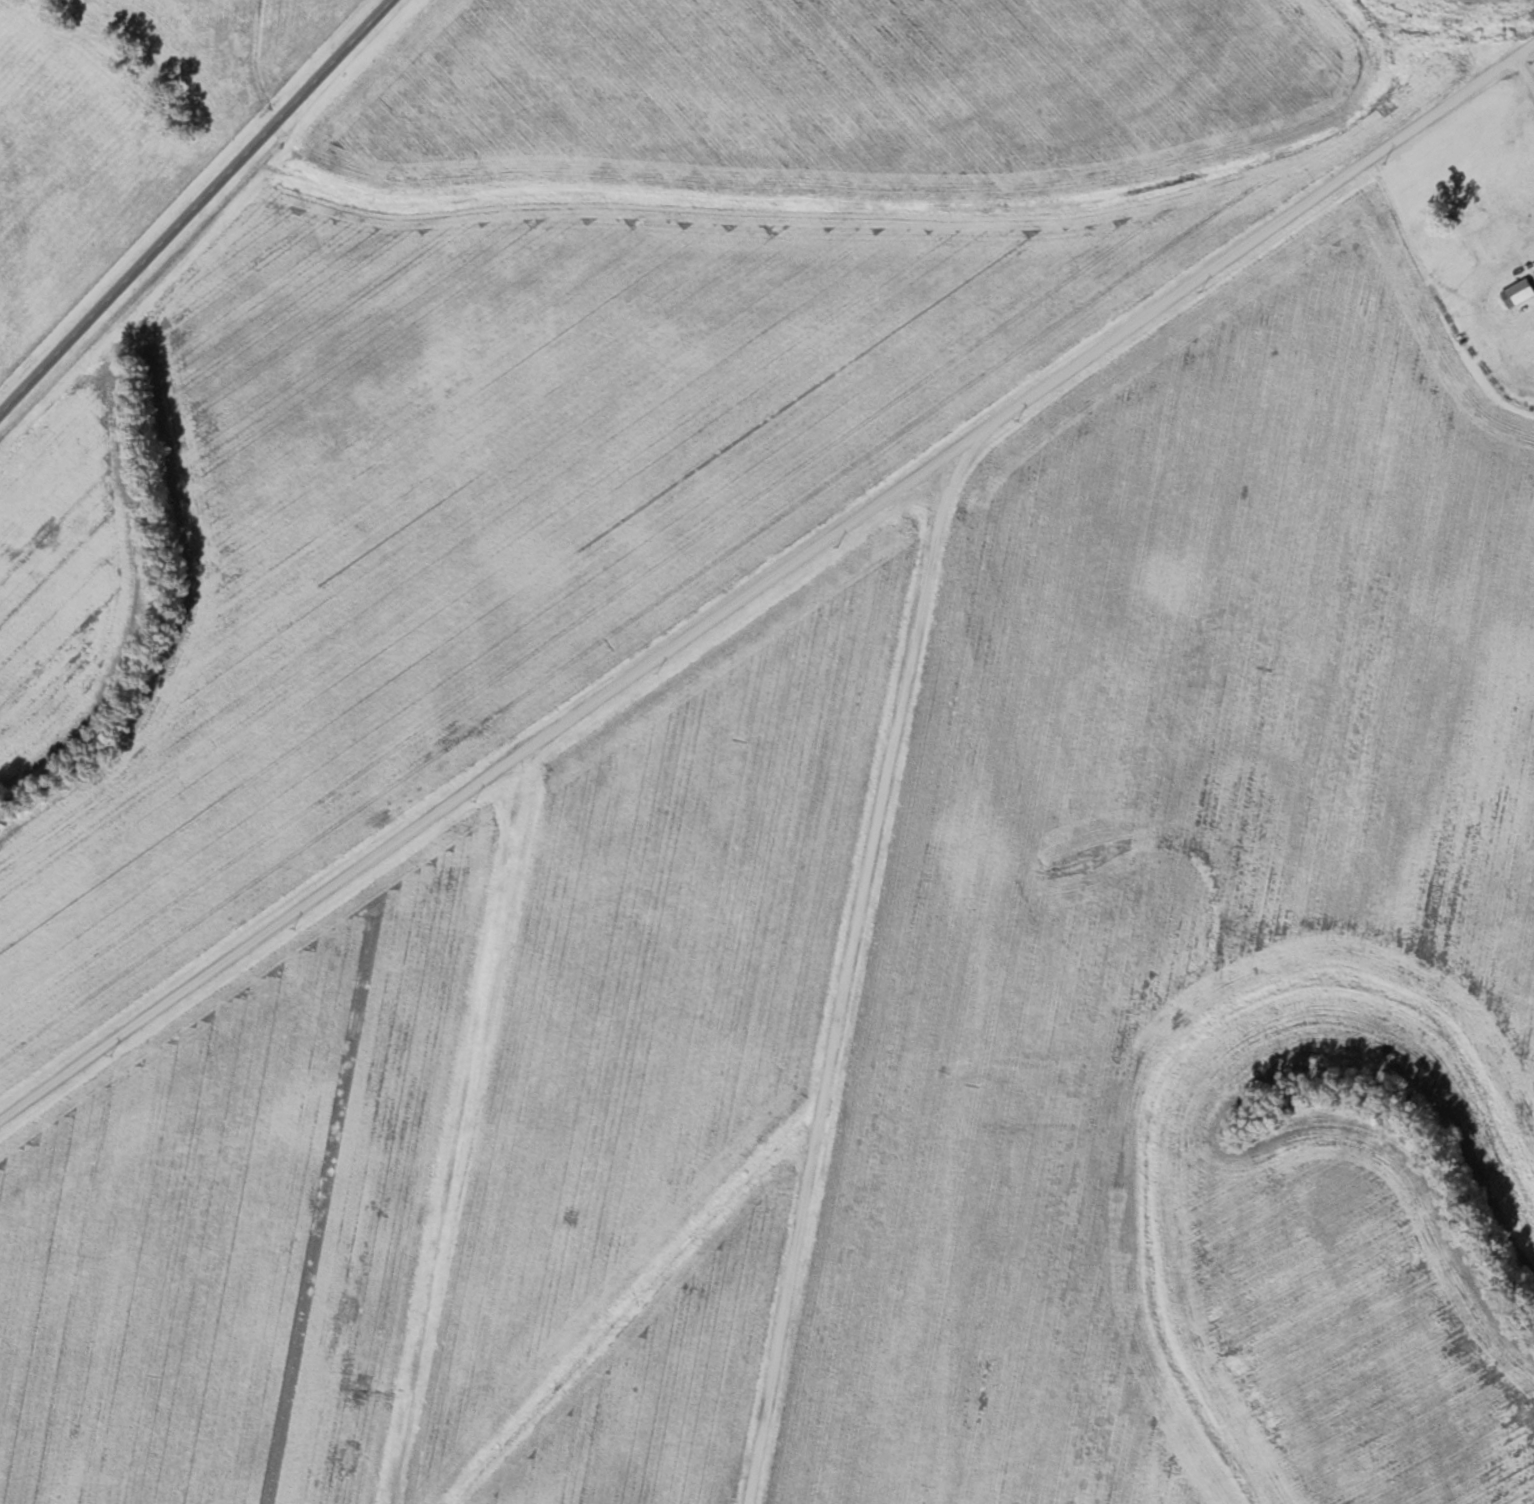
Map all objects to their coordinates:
road: (1521, 80)
road: (193, 204)
building: (1533, 270)
building: (1516, 292)
road: (901, 626)
road: (456, 824)

